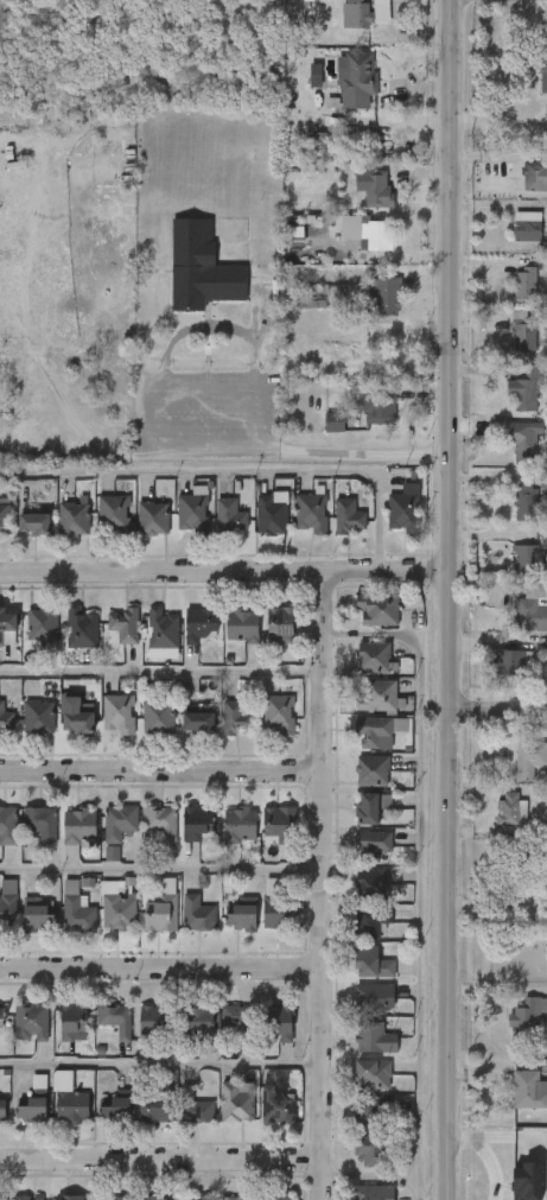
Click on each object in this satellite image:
building: (364, 13)
building: (543, 63)
building: (357, 78)
road: (515, 81)
building: (546, 114)
building: (319, 139)
building: (535, 174)
building: (375, 188)
building: (527, 229)
building: (367, 234)
building: (293, 236)
building: (201, 269)
building: (524, 281)
building: (318, 297)
building: (387, 297)
building: (523, 330)
building: (524, 387)
building: (380, 406)
building: (335, 423)
building: (524, 440)
road: (301, 452)
road: (234, 470)
building: (526, 500)
building: (402, 508)
building: (191, 512)
building: (32, 513)
building: (112, 513)
building: (271, 513)
building: (310, 513)
building: (4, 514)
building: (229, 515)
building: (348, 515)
building: (71, 518)
building: (152, 518)
building: (524, 559)
road: (224, 570)
road: (450, 599)
building: (376, 609)
building: (530, 614)
building: (6, 620)
building: (198, 622)
building: (42, 624)
building: (240, 624)
building: (120, 626)
building: (278, 626)
building: (81, 628)
building: (163, 628)
building: (373, 656)
building: (511, 661)
road: (161, 674)
building: (374, 696)
road: (498, 709)
building: (116, 713)
building: (276, 716)
building: (38, 717)
building: (76, 717)
building: (157, 717)
building: (5, 718)
building: (236, 718)
building: (196, 722)
building: (373, 732)
building: (529, 758)
building: (371, 769)
road: (160, 772)
building: (508, 806)
building: (365, 808)
building: (39, 823)
building: (119, 823)
building: (278, 823)
building: (158, 824)
building: (197, 824)
building: (78, 825)
building: (238, 825)
building: (7, 826)
building: (371, 845)
road: (414, 872)
road: (161, 874)
building: (370, 883)
road: (323, 884)
building: (7, 910)
building: (159, 912)
building: (117, 913)
building: (278, 913)
building: (77, 914)
building: (197, 914)
building: (37, 916)
building: (238, 916)
building: (369, 919)
building: (369, 963)
road: (161, 969)
building: (375, 997)
building: (527, 1011)
building: (0, 1015)
building: (114, 1018)
building: (153, 1018)
building: (71, 1020)
building: (240, 1020)
building: (30, 1021)
building: (196, 1021)
building: (276, 1022)
building: (373, 1037)
road: (161, 1069)
building: (371, 1074)
building: (39, 1081)
building: (529, 1088)
building: (235, 1100)
building: (70, 1105)
building: (276, 1105)
building: (1, 1107)
building: (28, 1107)
building: (113, 1109)
building: (154, 1111)
building: (199, 1111)
building: (371, 1112)
building: (367, 1150)
road: (160, 1161)
building: (523, 1163)
road: (367, 1175)
building: (527, 1181)
building: (373, 1193)
building: (27, 1198)
building: (193, 1198)
building: (274, 1198)
building: (1, 1199)
building: (68, 1199)
building: (112, 1199)
building: (151, 1199)
building: (236, 1199)

